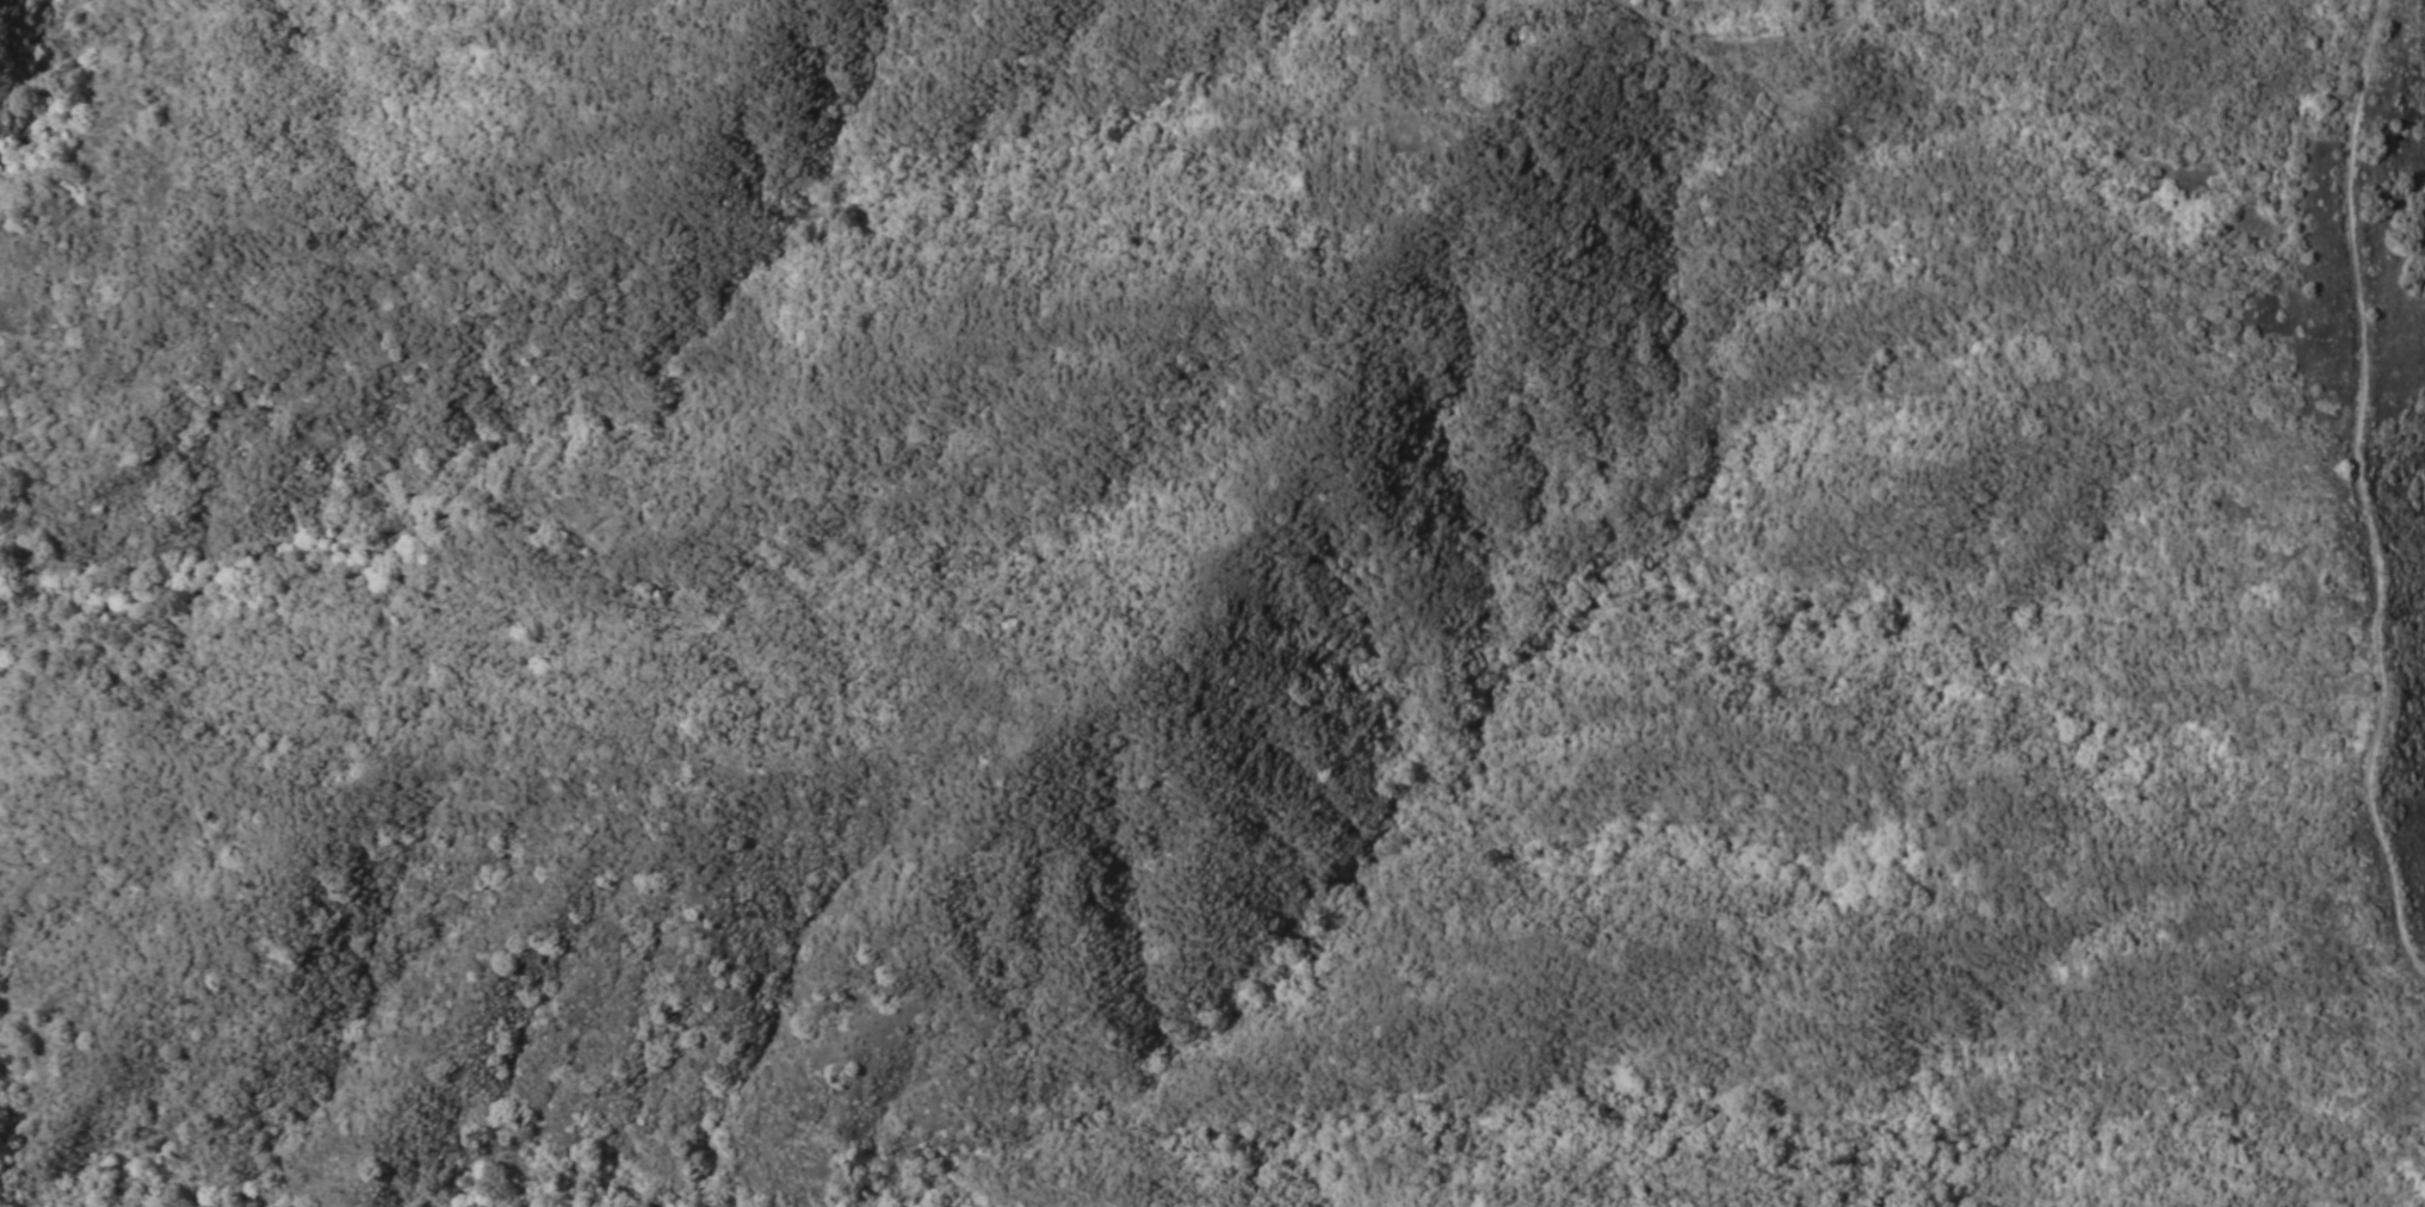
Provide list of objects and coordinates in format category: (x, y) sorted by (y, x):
road: (1739, 36)
road: (1476, 42)
road: (2361, 489)

